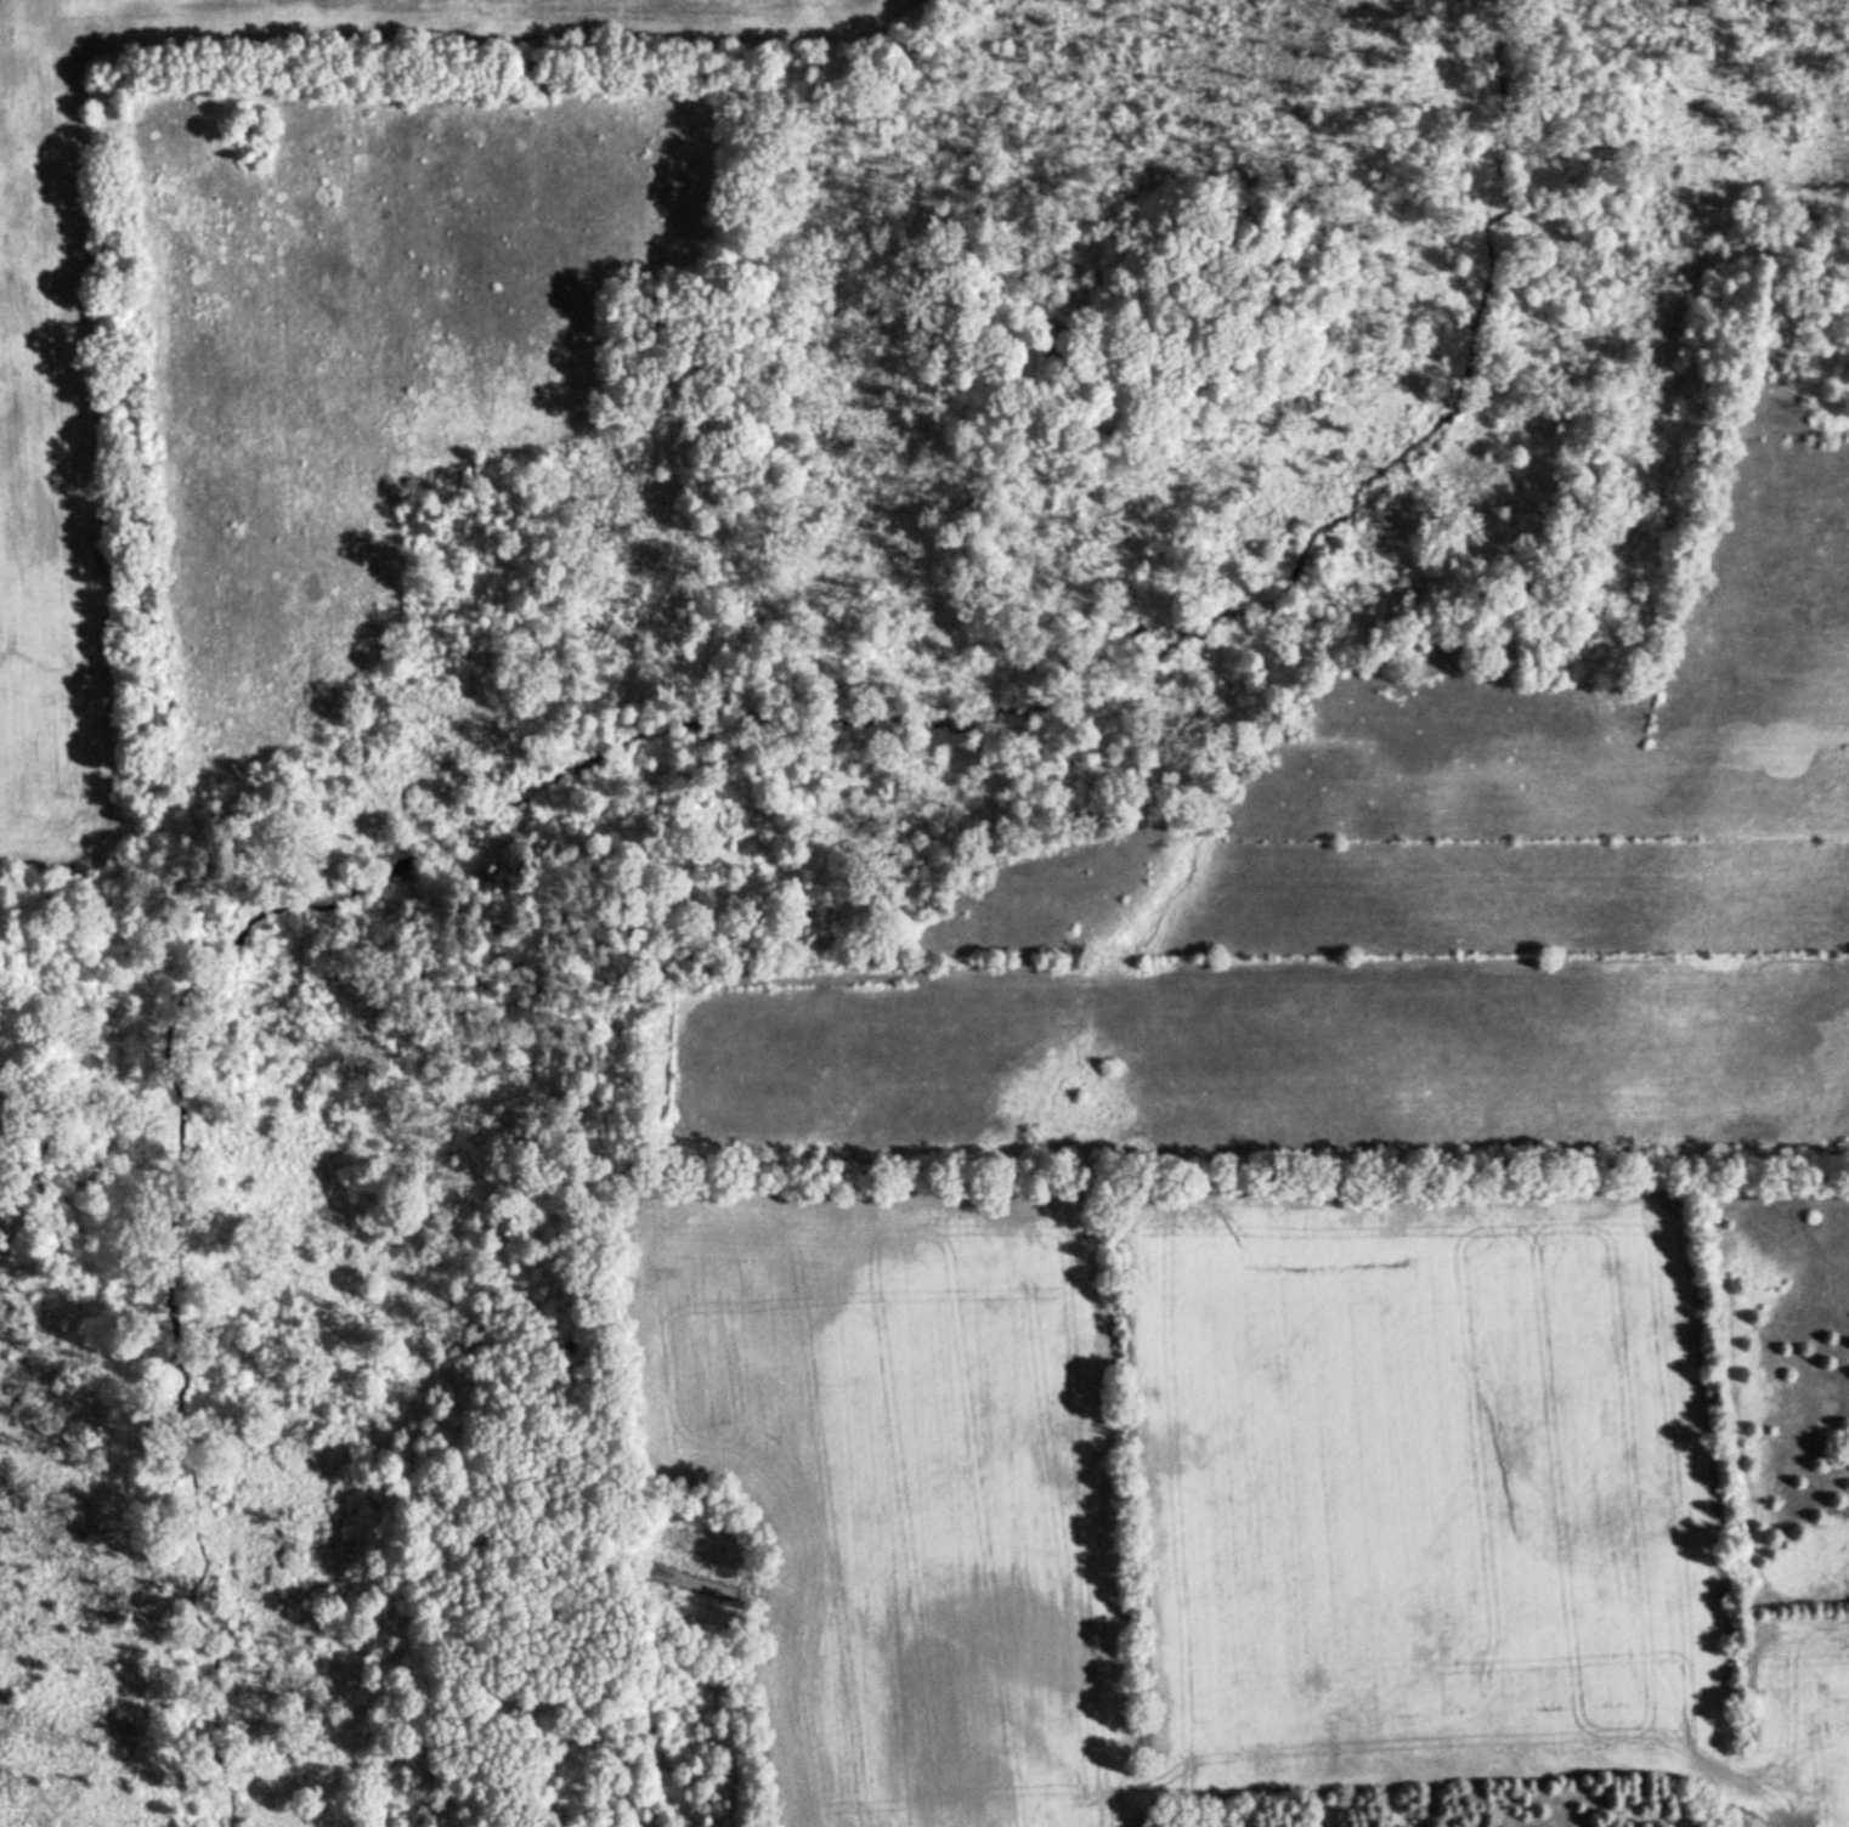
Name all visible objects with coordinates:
crop: (469, 21)
crop: (53, 466)
crop: (882, 1481)
crop: (1424, 1484)
crop: (1813, 1716)

